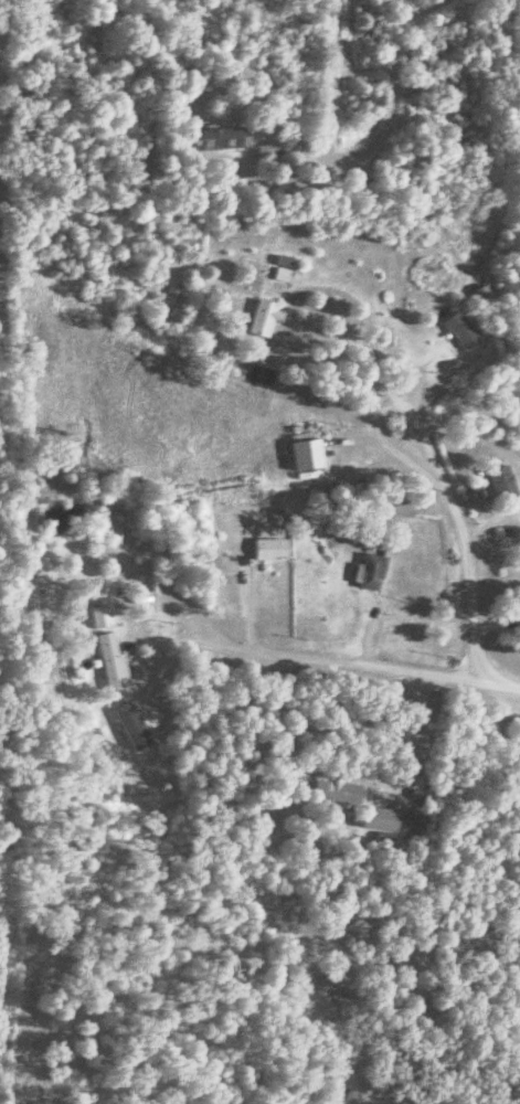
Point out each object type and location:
road: (376, 116)
building: (217, 140)
building: (479, 298)
building: (264, 317)
building: (455, 330)
road: (376, 331)
building: (499, 484)
road: (439, 491)
building: (369, 573)
road: (466, 601)
road: (194, 614)
building: (98, 617)
building: (108, 662)
road: (372, 666)
road: (405, 743)
building: (335, 793)
building: (378, 811)
building: (513, 1020)

